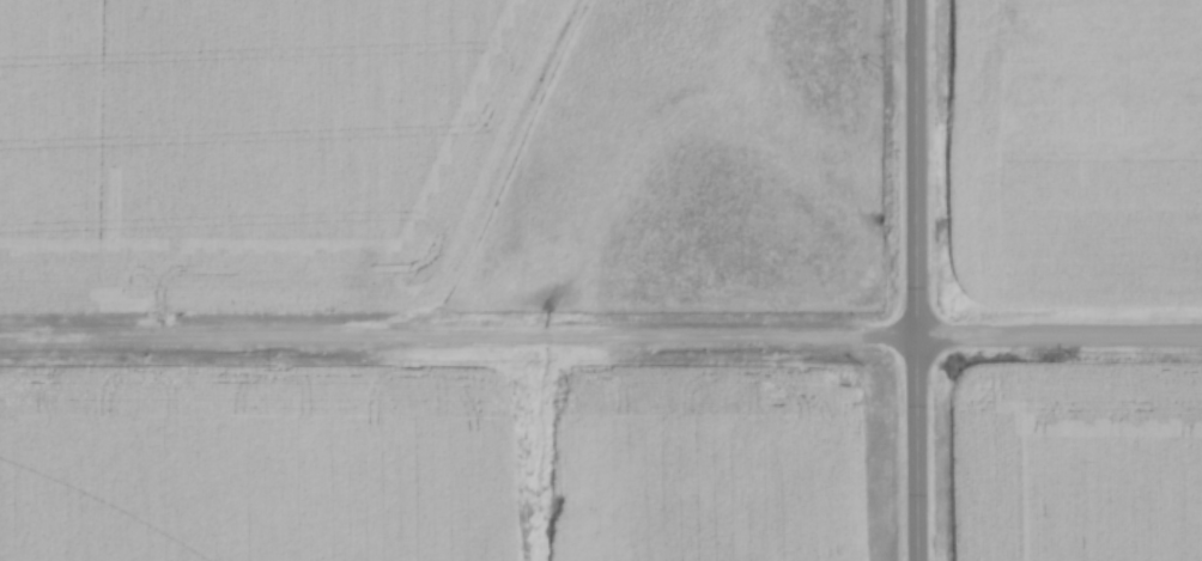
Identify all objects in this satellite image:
road: (917, 280)
road: (1060, 341)
road: (459, 342)

